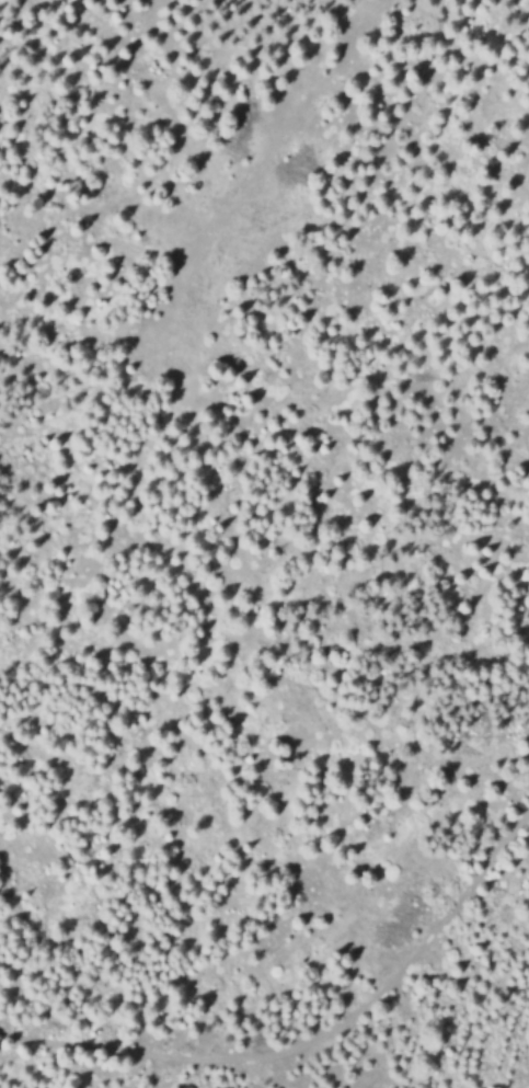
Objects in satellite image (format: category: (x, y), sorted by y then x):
road: (387, 964)
road: (101, 1050)

